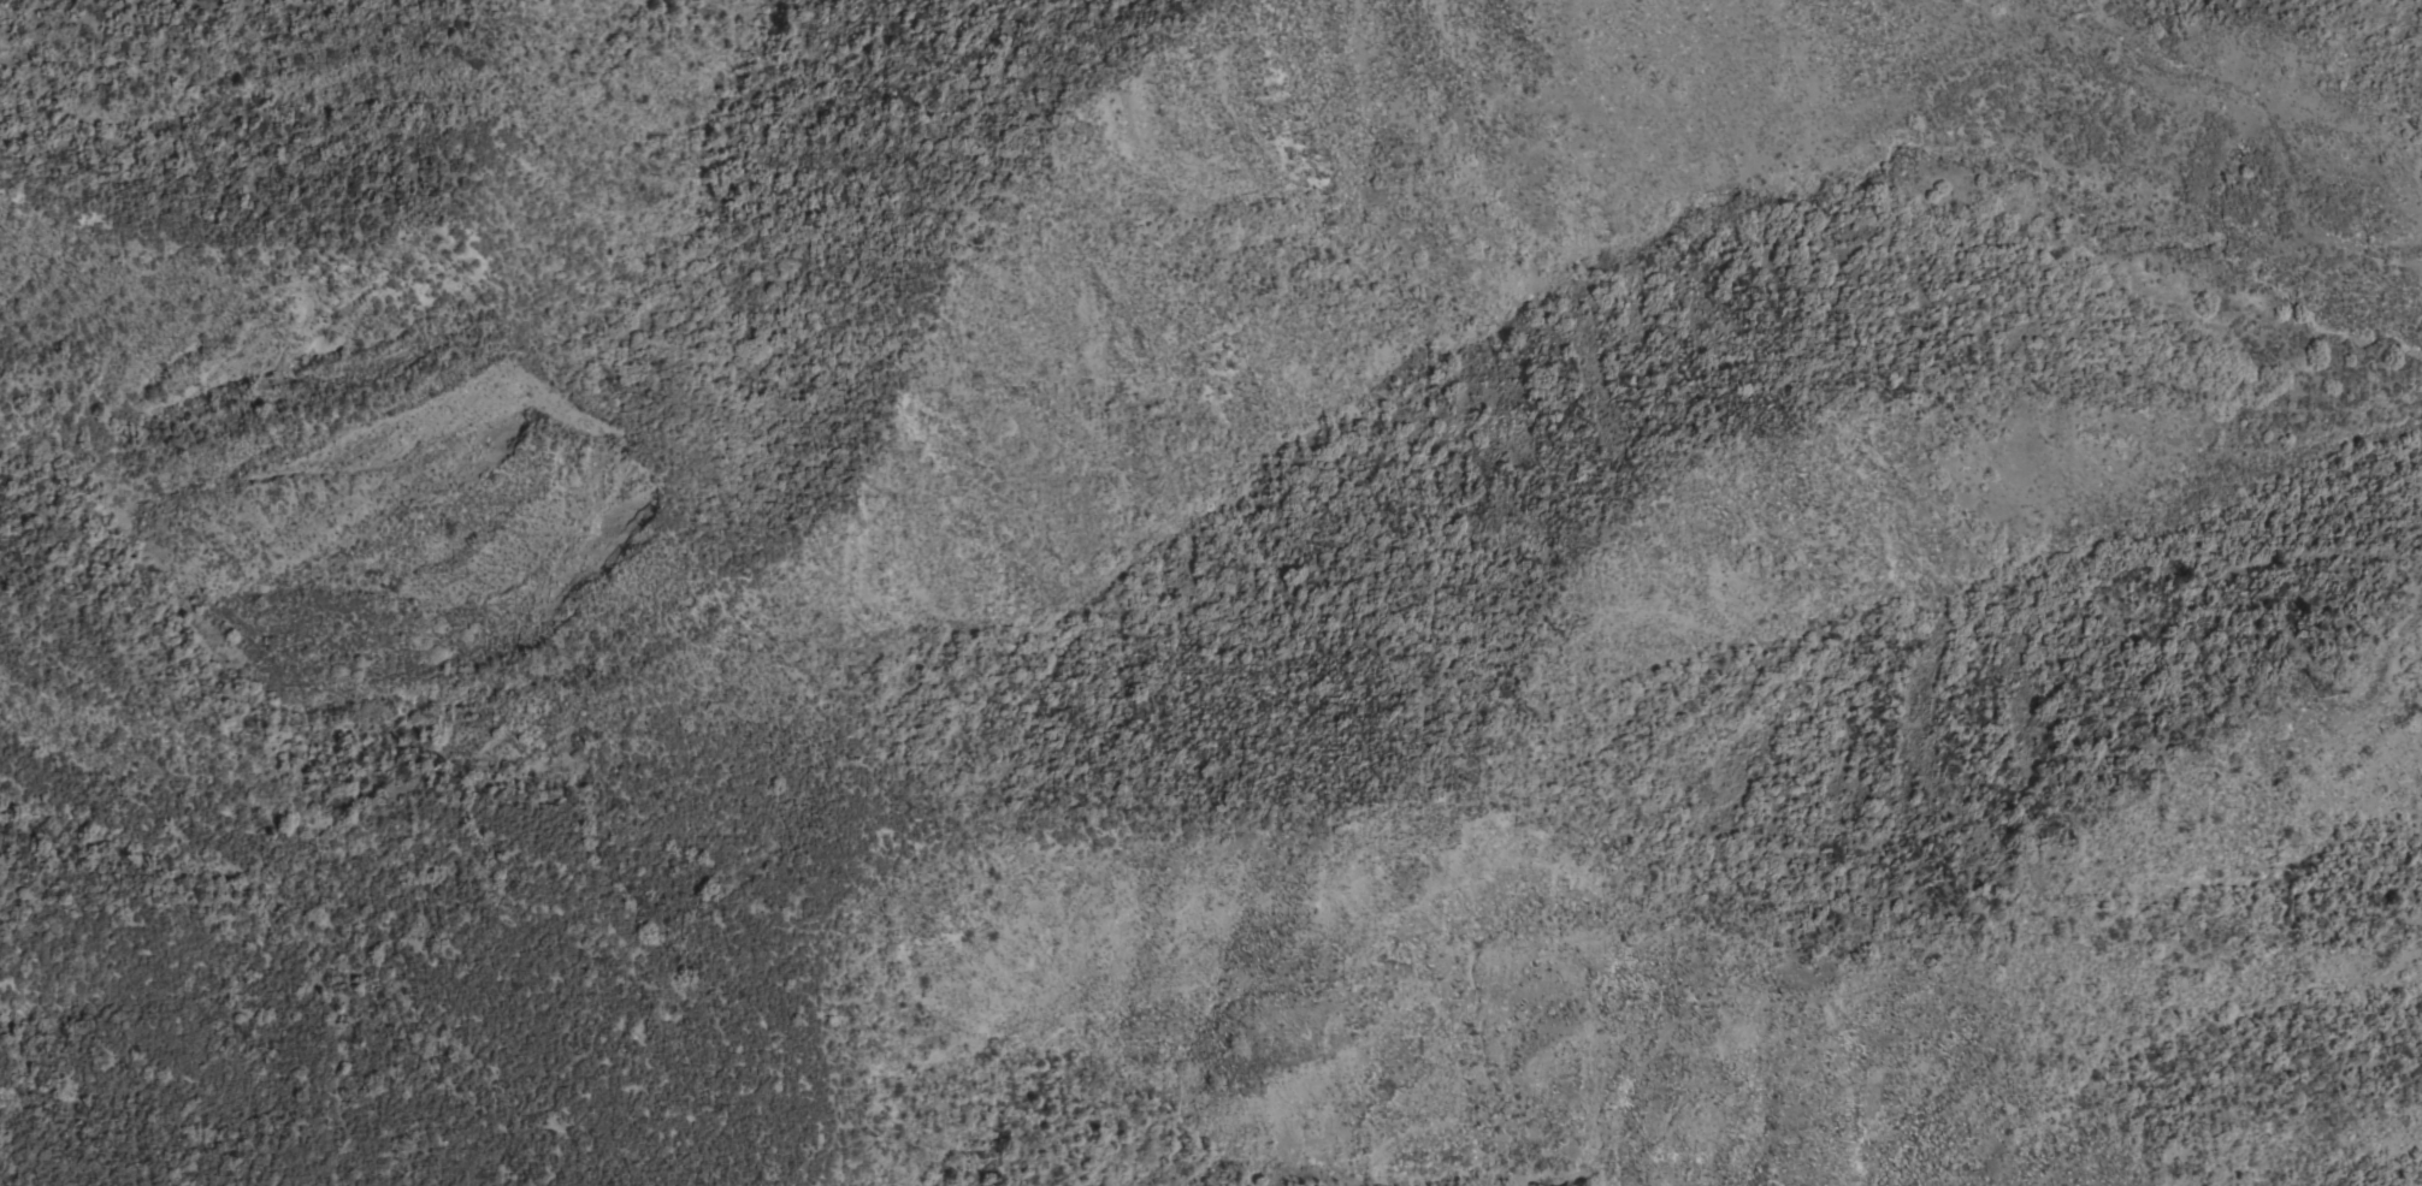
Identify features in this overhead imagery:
power tower: (2323, 695)

